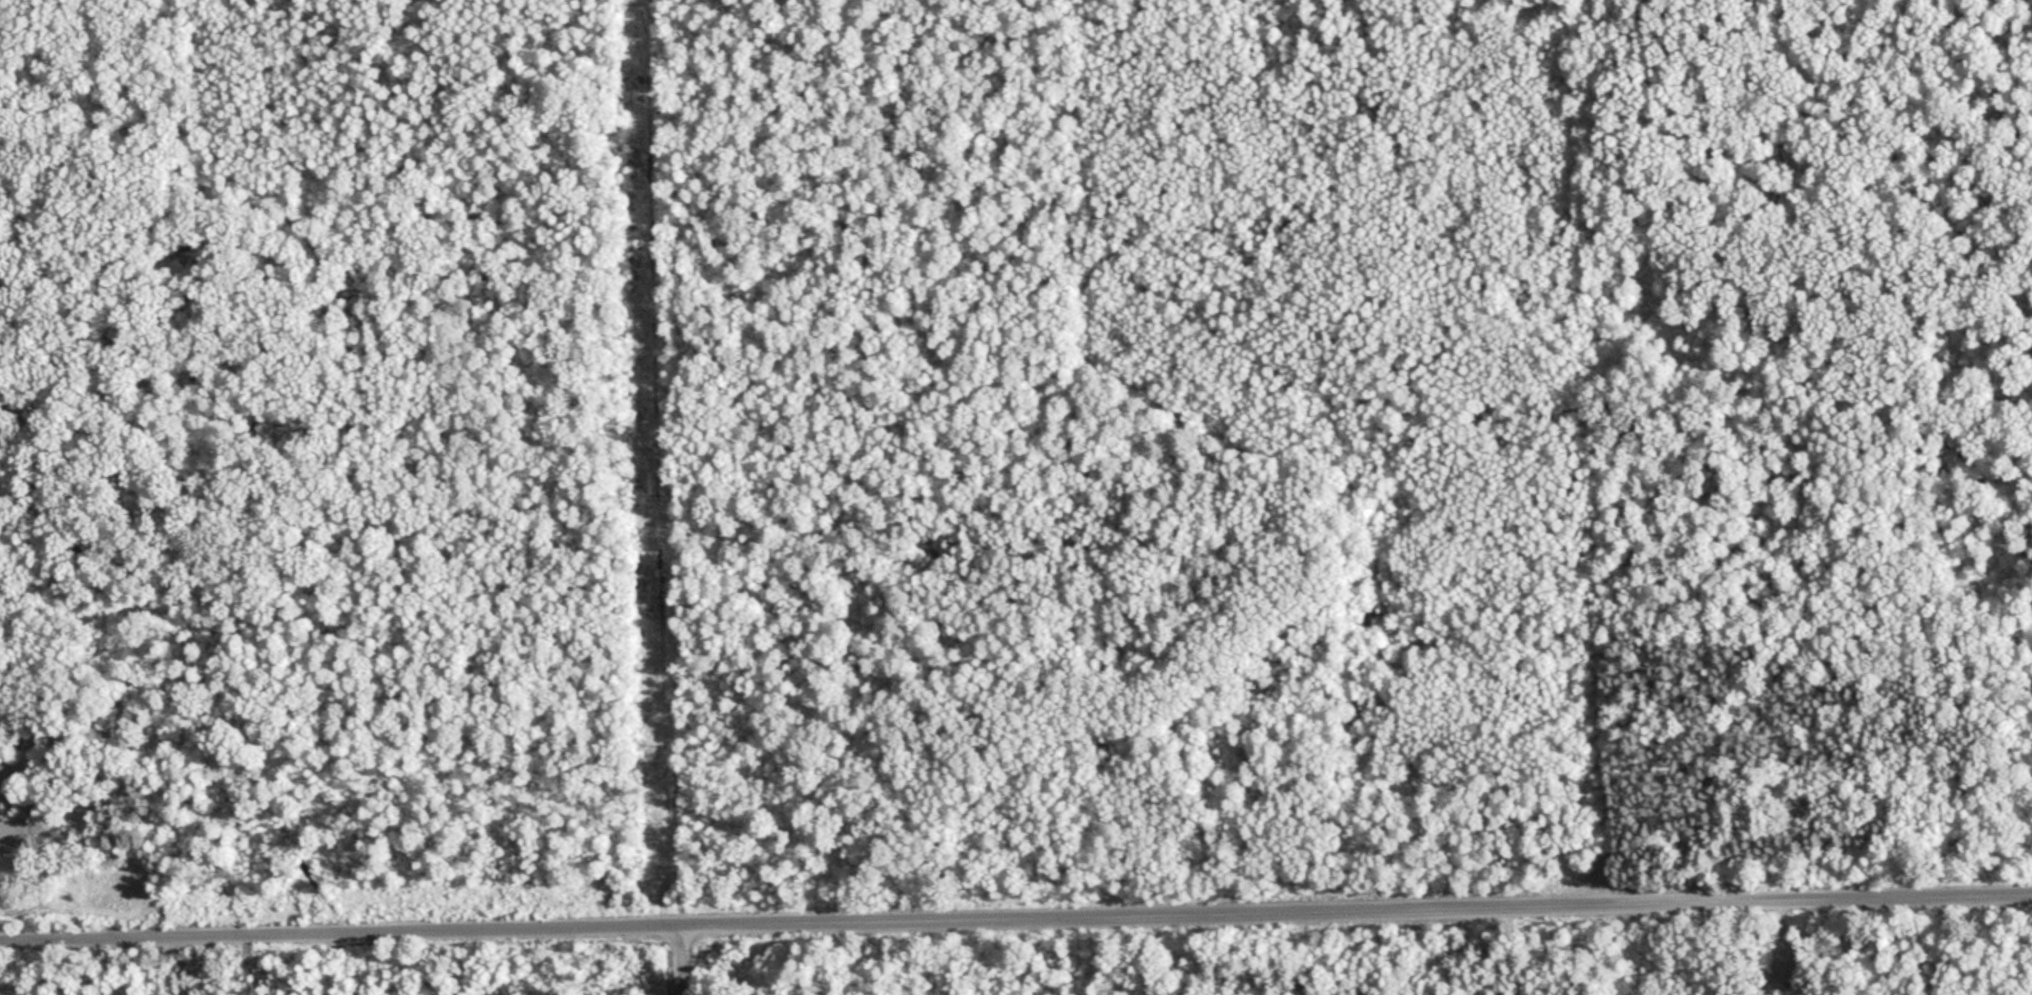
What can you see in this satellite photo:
park: (1082, 474)
road: (1016, 921)
road: (686, 962)

